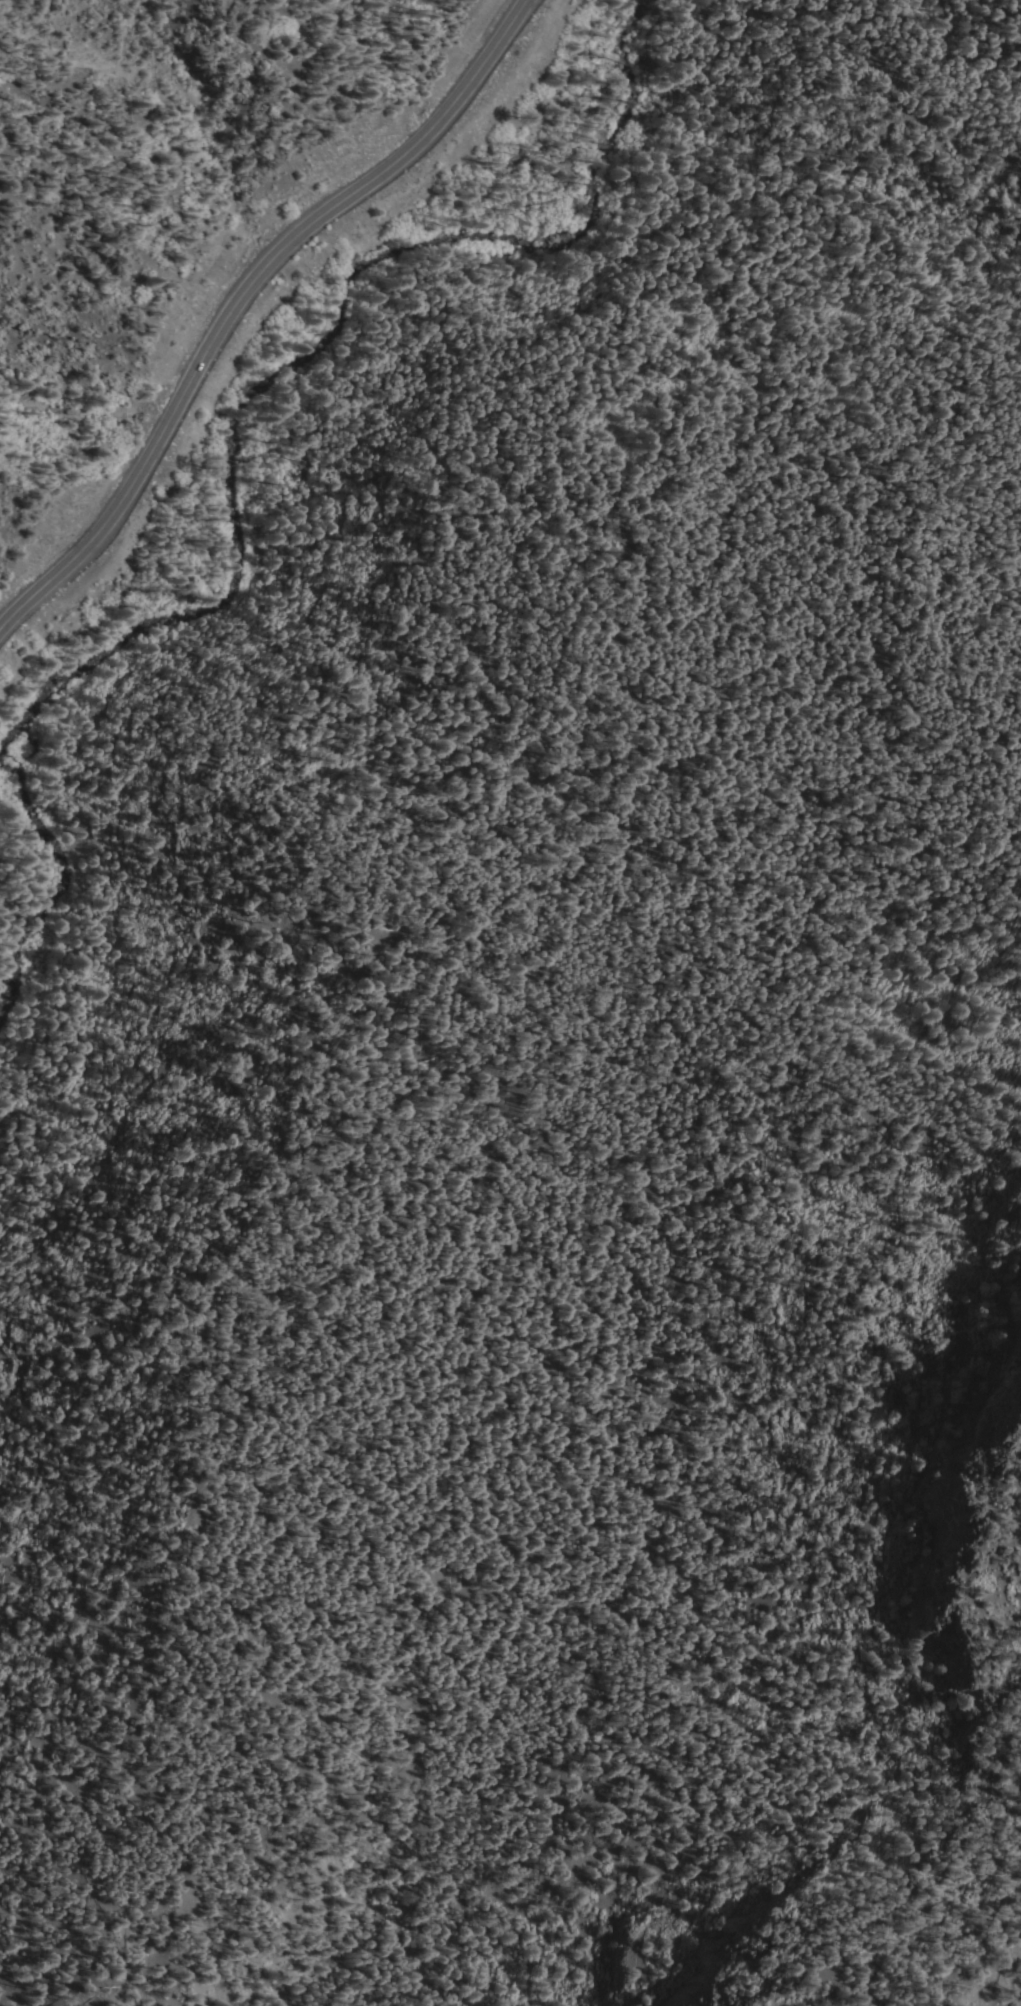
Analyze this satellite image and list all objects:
road: (238, 293)

